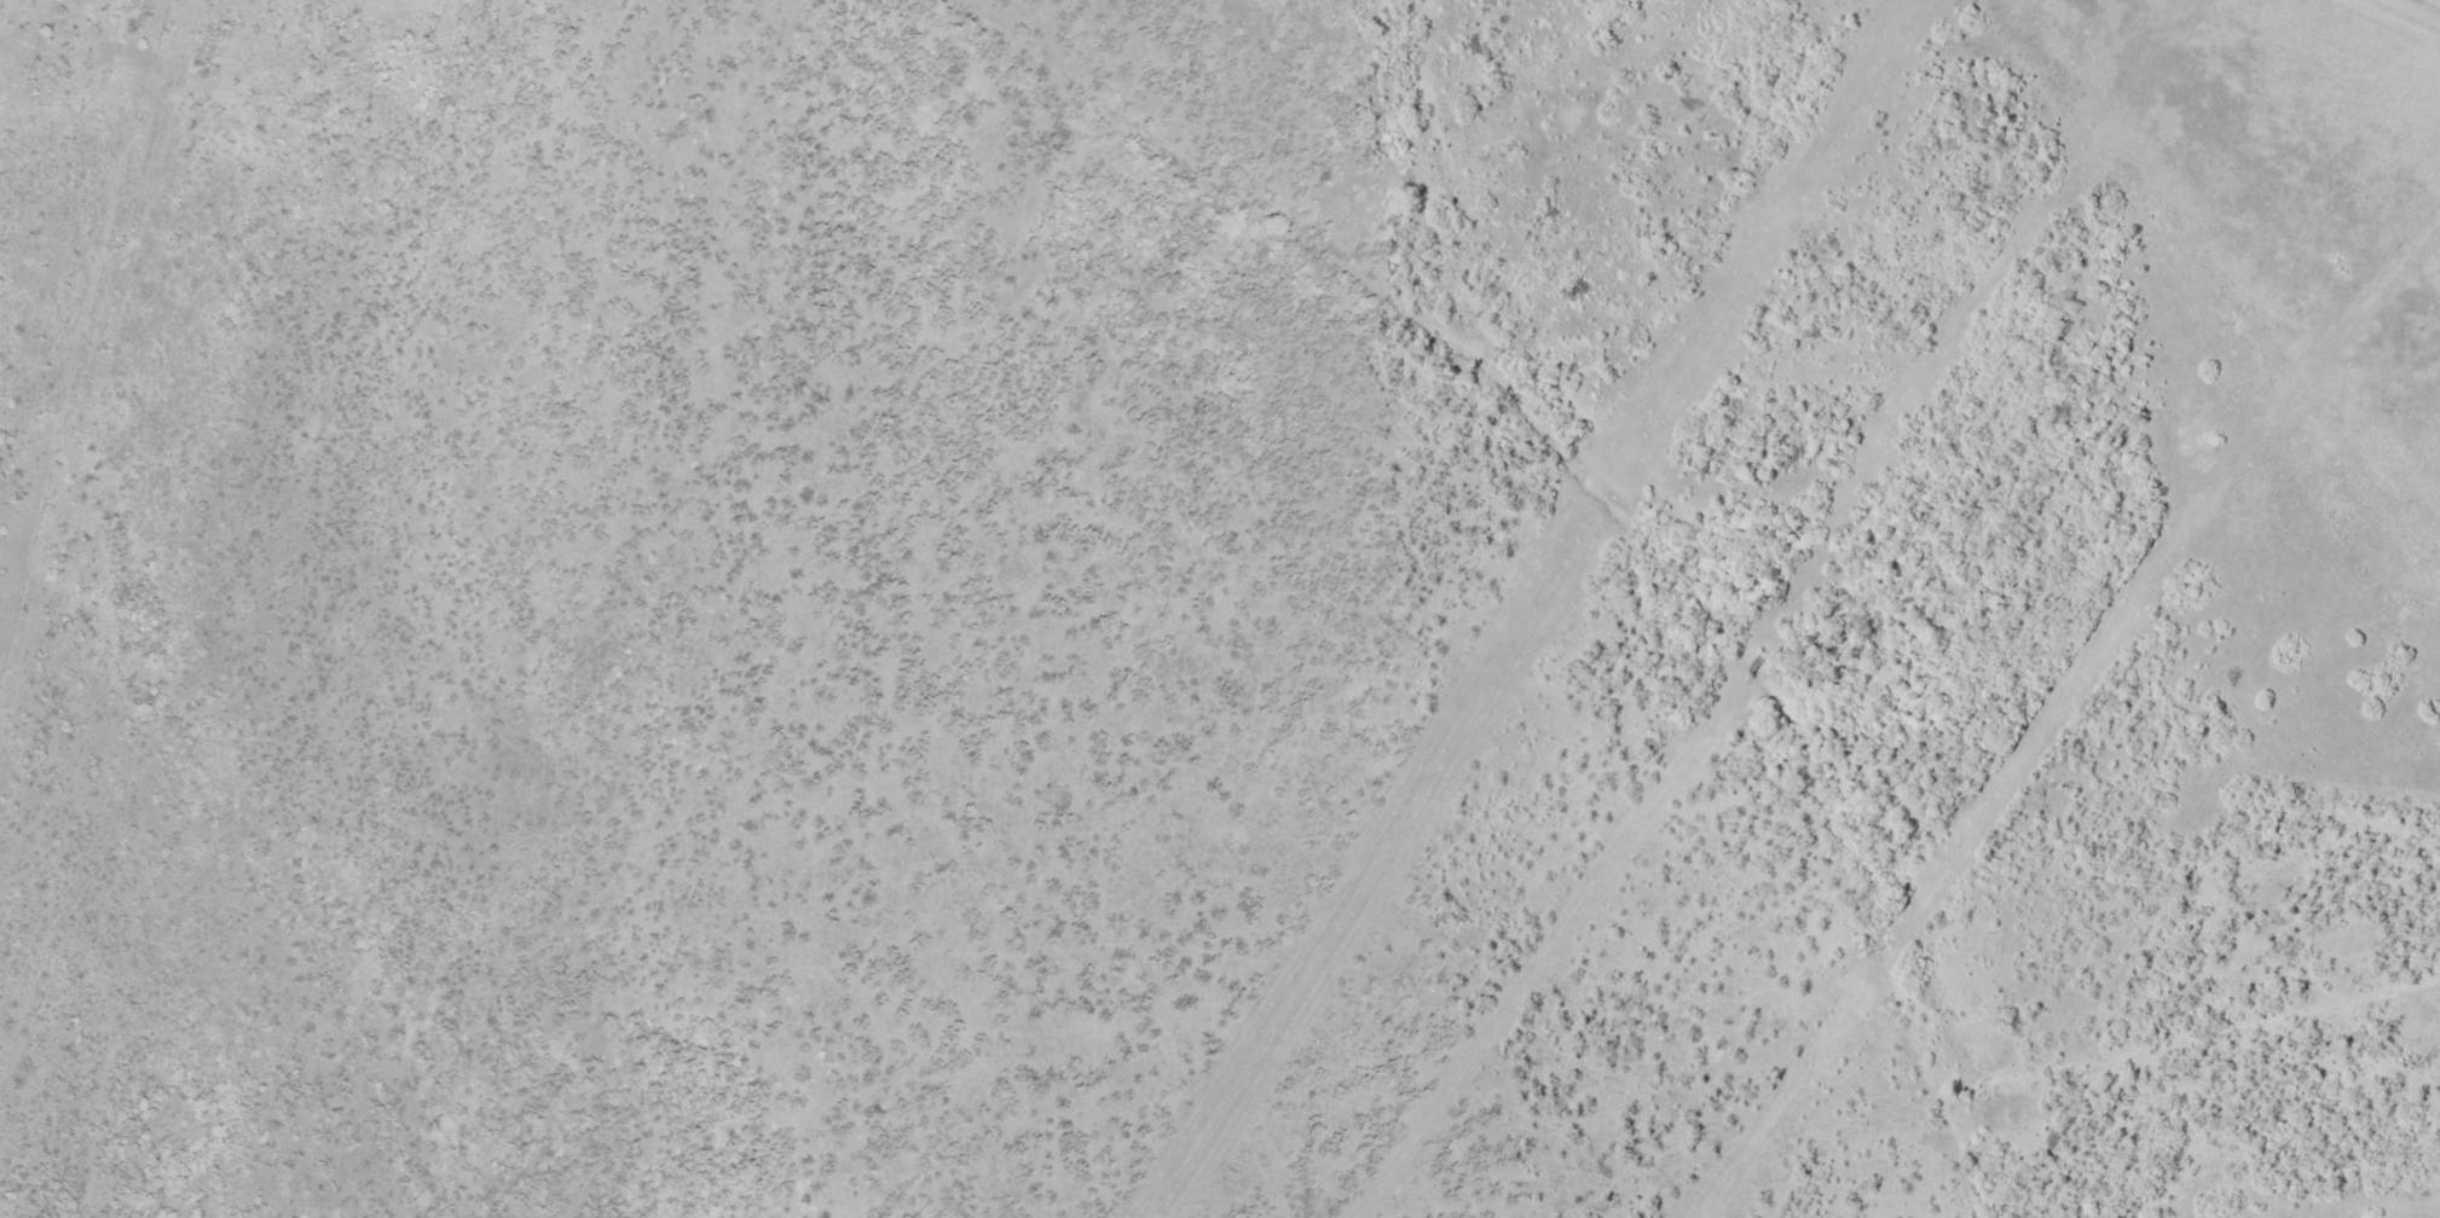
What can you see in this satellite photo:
road: (2410, 12)

